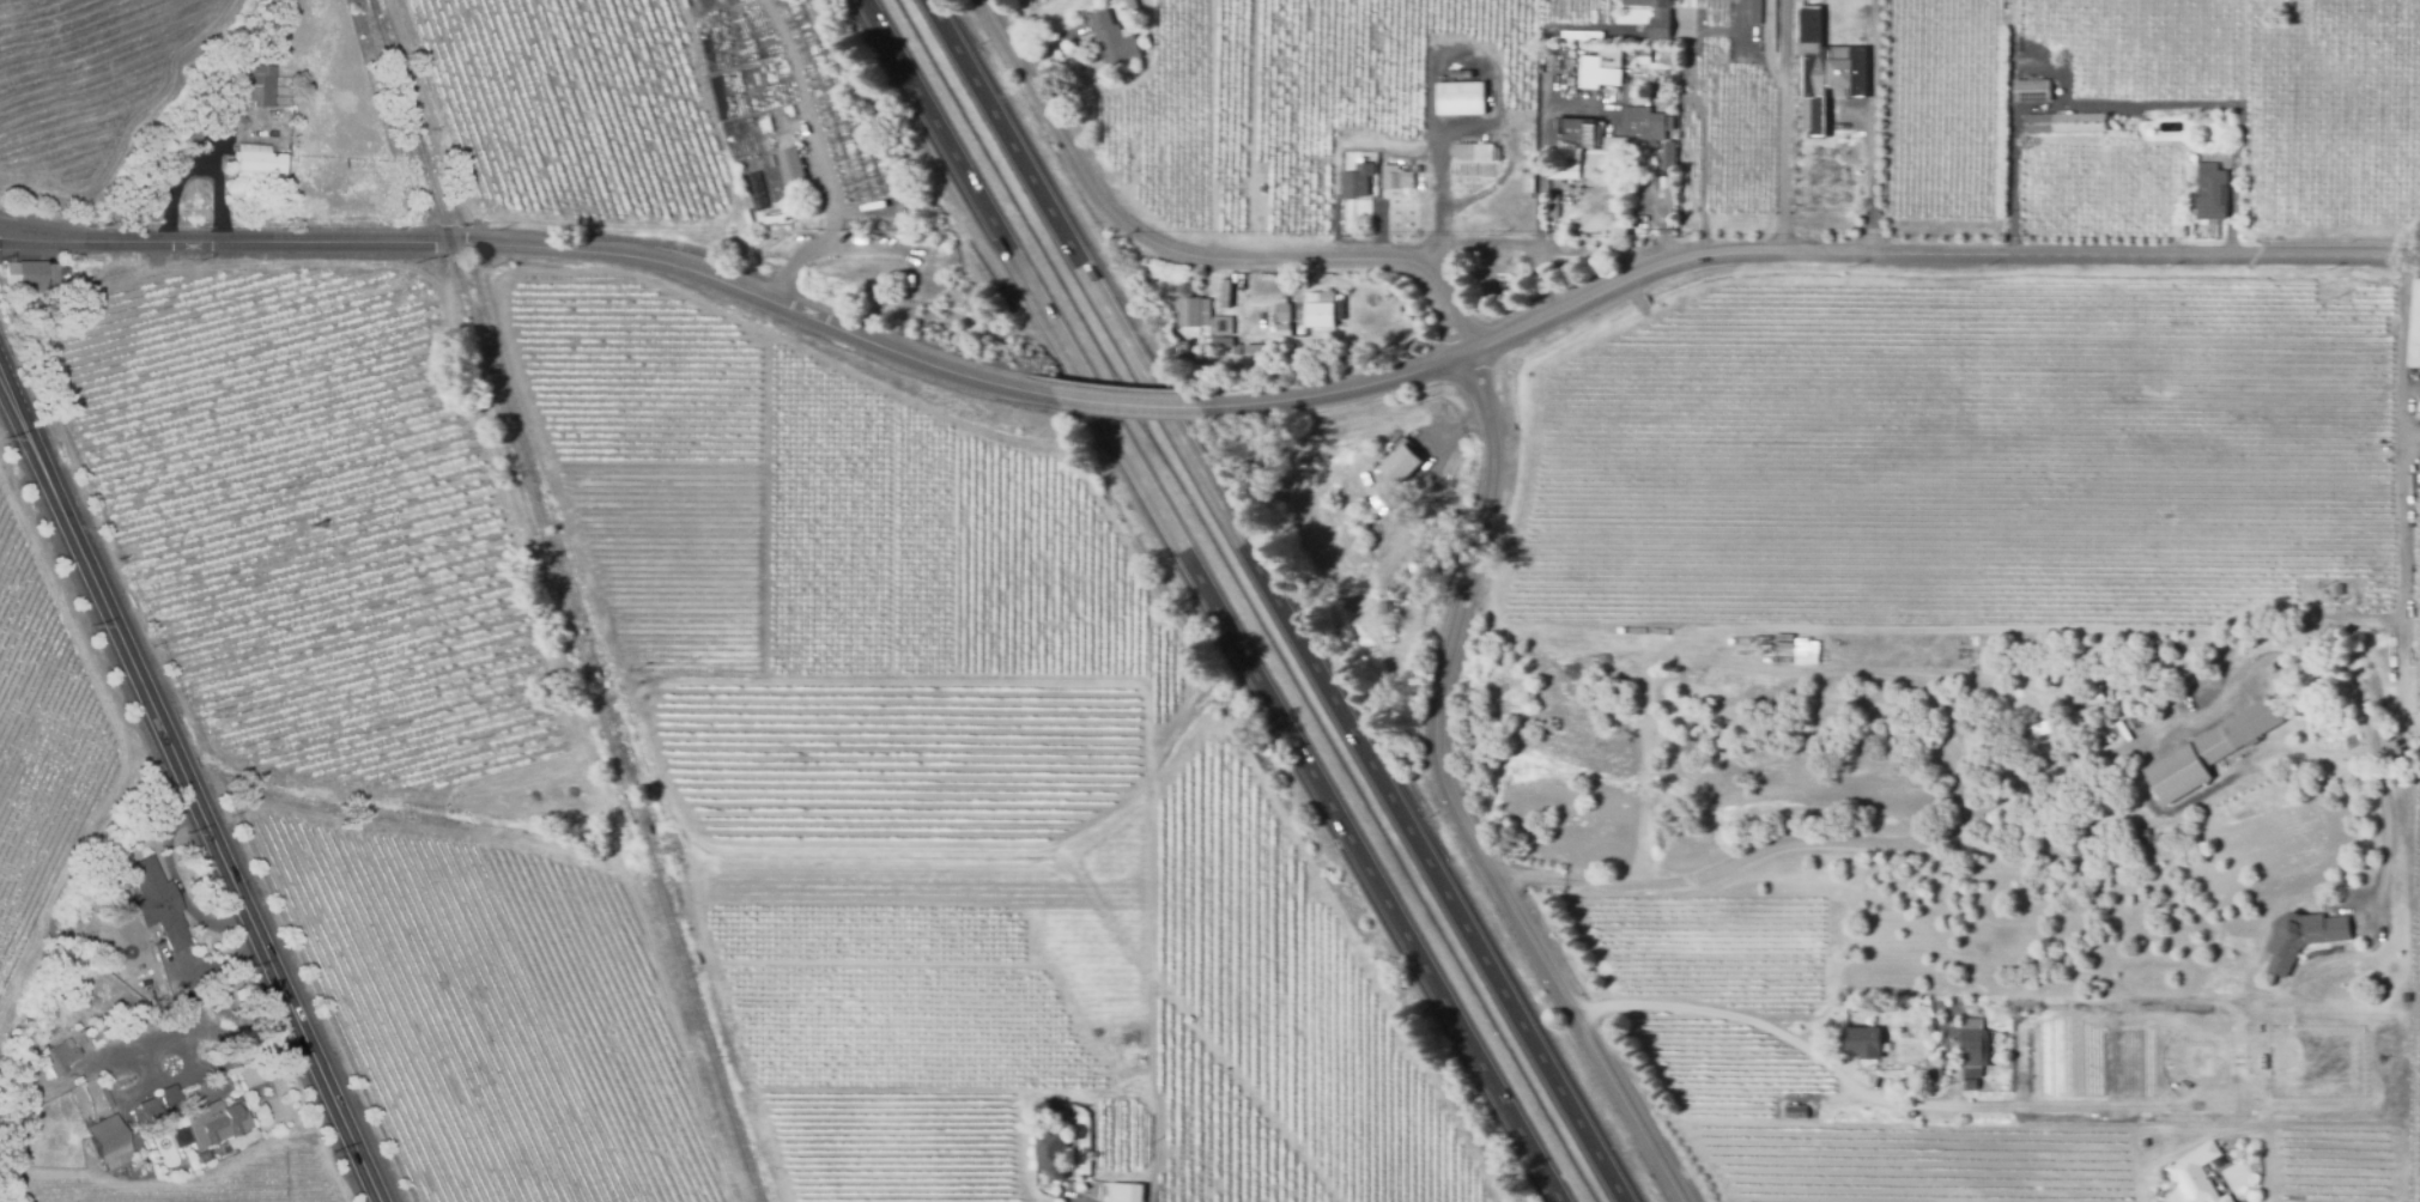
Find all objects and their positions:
building: (1676, 0)
building: (1129, 6)
building: (1754, 11)
building: (1655, 16)
building: (1111, 41)
building: (1642, 54)
building: (1596, 71)
building: (1555, 77)
building: (260, 86)
building: (2031, 91)
building: (1461, 96)
building: (232, 122)
building: (2066, 123)
building: (764, 126)
road: (1873, 128)
building: (1654, 132)
building: (1569, 133)
road: (1787, 140)
building: (1473, 153)
road: (819, 160)
building: (770, 162)
building: (256, 163)
building: (1589, 163)
building: (789, 168)
building: (1394, 177)
road: (1443, 177)
building: (1354, 181)
building: (1668, 183)
building: (754, 190)
building: (2210, 193)
building: (423, 206)
building: (1551, 206)
building: (1637, 214)
building: (881, 226)
road: (541, 253)
road: (1189, 254)
road: (1934, 256)
building: (31, 277)
building: (909, 280)
building: (1336, 283)
building: (1306, 287)
building: (1227, 295)
building: (1206, 303)
building: (1317, 310)
building: (1185, 311)
building: (1281, 314)
building: (1221, 326)
building: (2414, 329)
building: (1217, 341)
building: (1255, 348)
road: (2401, 354)
road: (1341, 396)
road: (1134, 403)
building: (2418, 407)
building: (1400, 462)
road: (2402, 584)
building: (2336, 590)
railway: (570, 600)
road: (1212, 601)
road: (1275, 601)
building: (1384, 608)
building: (1388, 631)
building: (2094, 688)
building: (2040, 727)
building: (2207, 752)
road: (2046, 773)
road: (190, 784)
road: (1451, 806)
building: (157, 904)
building: (2303, 936)
road: (181, 1010)
road: (1777, 1026)
building: (1858, 1044)
building: (1971, 1049)
building: (56, 1058)
road: (225, 1063)
building: (1934, 1074)
building: (1971, 1082)
building: (159, 1104)
building: (1062, 1113)
building: (1793, 1113)
building: (214, 1123)
building: (108, 1142)
building: (1050, 1149)
building: (202, 1158)
building: (2198, 1173)
building: (1124, 1192)

